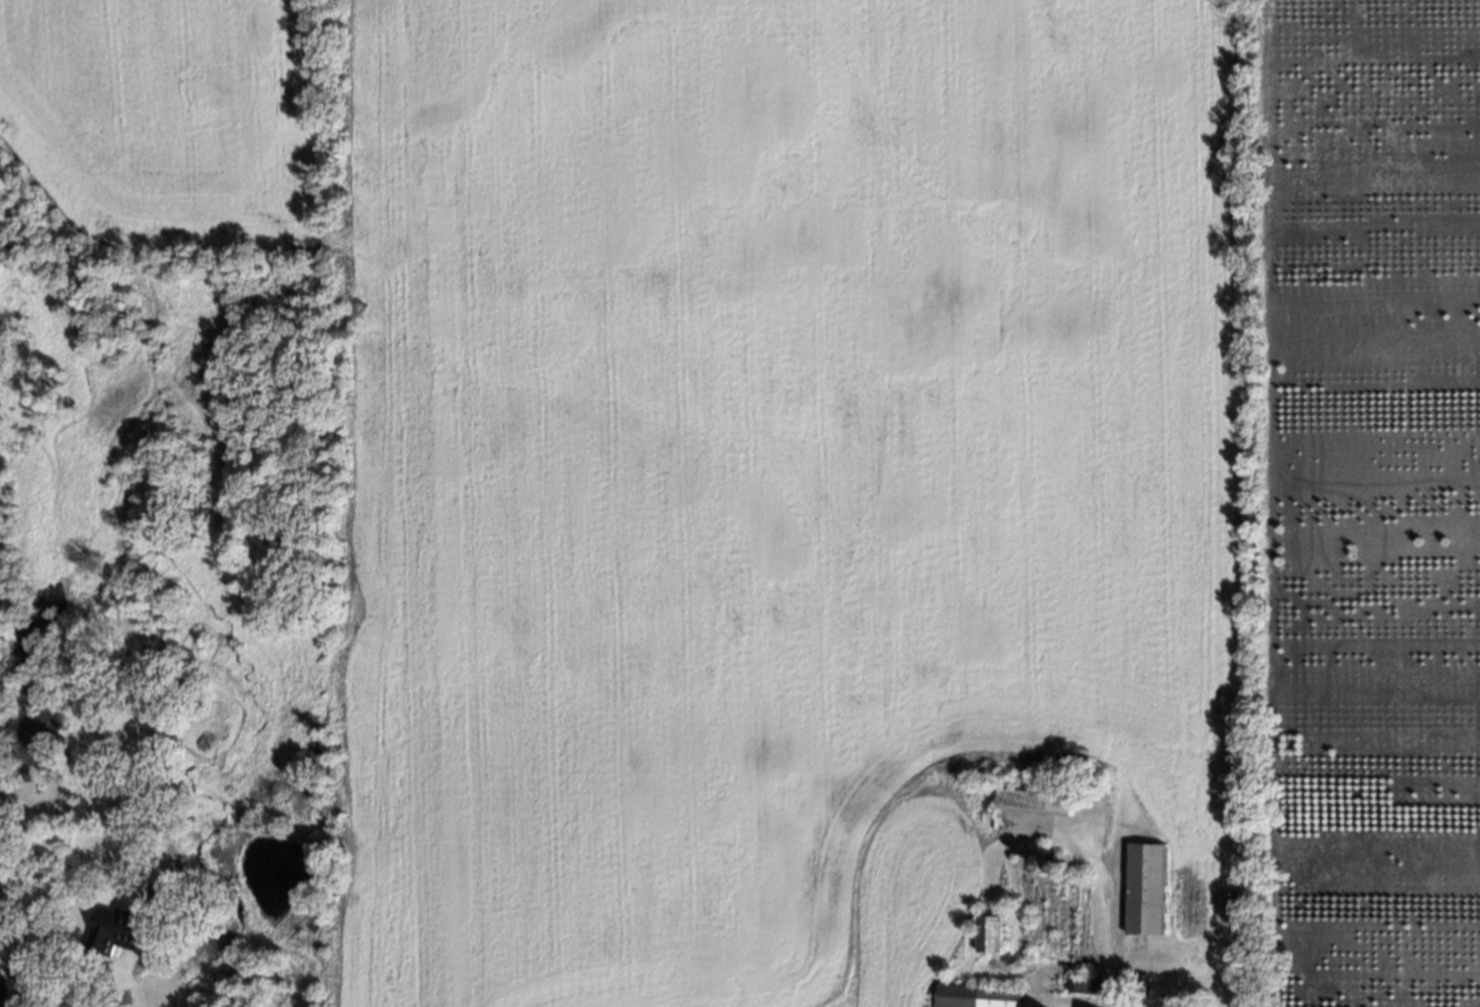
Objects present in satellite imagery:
building: (1031, 801)
building: (1042, 864)
building: (1057, 864)
building: (1142, 890)
building: (1050, 922)
building: (116, 929)
road: (1112, 933)
building: (989, 935)
building: (1161, 961)
road: (103, 984)
building: (1138, 984)
building: (1084, 985)
building: (973, 996)

